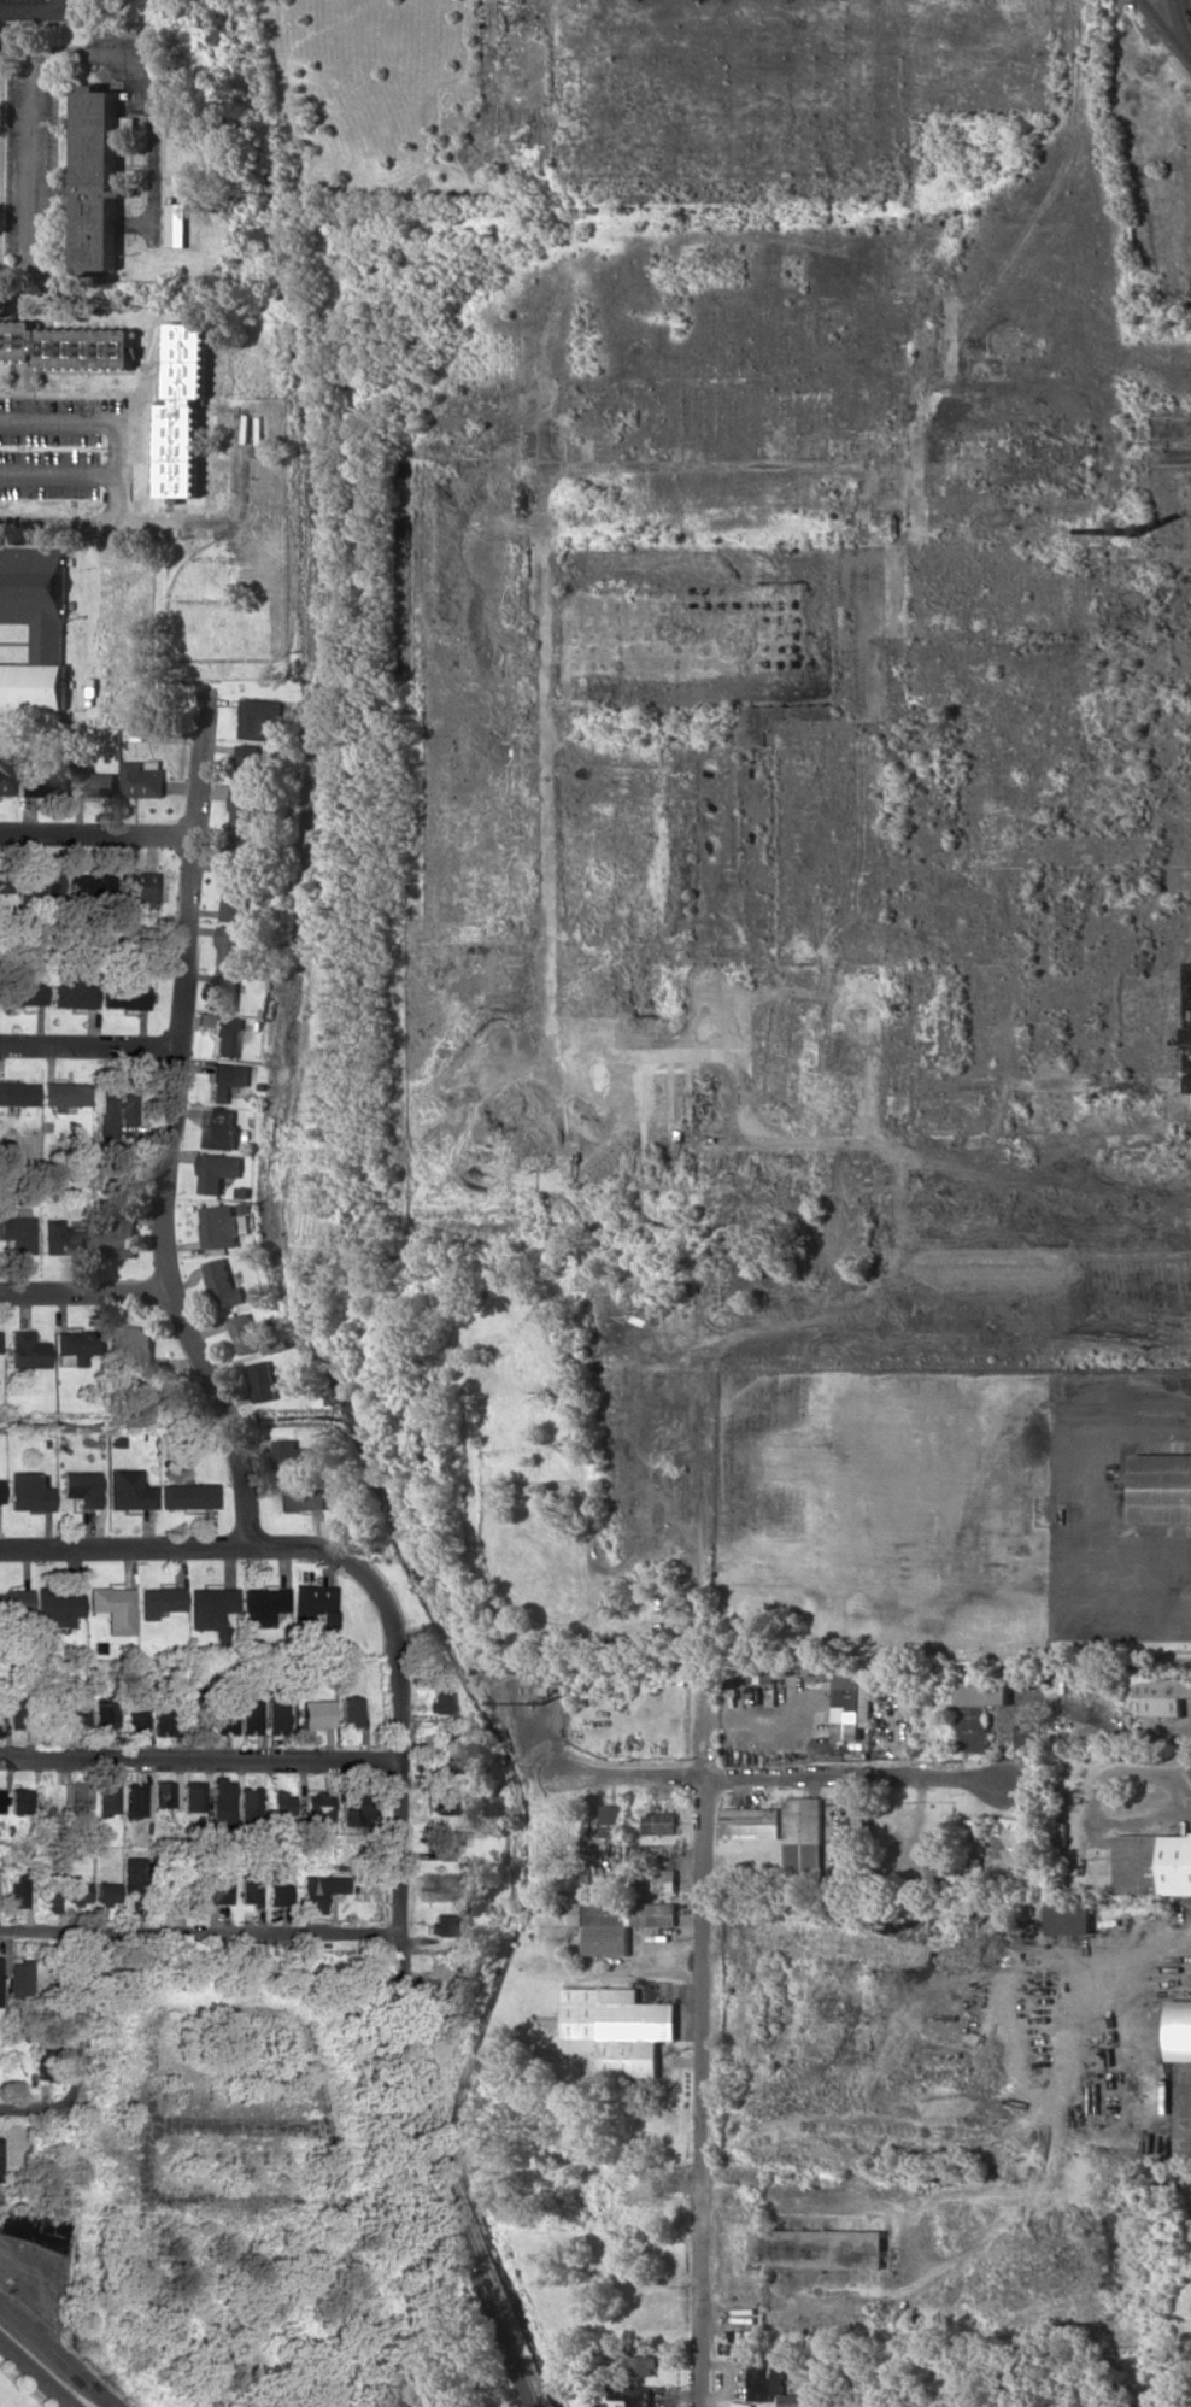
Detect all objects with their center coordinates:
road: (1185, 12)
road: (36, 14)
road: (1166, 27)
road: (143, 82)
road: (31, 169)
building: (101, 176)
building: (177, 224)
building: (66, 346)
building: (184, 410)
road: (107, 424)
road: (60, 476)
road: (169, 529)
building: (33, 627)
building: (260, 720)
building: (778, 721)
building: (248, 764)
building: (6, 775)
building: (143, 777)
building: (92, 780)
building: (42, 782)
building: (244, 810)
road: (96, 833)
building: (240, 855)
building: (2, 883)
building: (141, 886)
building: (236, 900)
building: (231, 945)
building: (72, 991)
building: (229, 991)
building: (22, 992)
building: (124, 996)
road: (733, 1010)
building: (225, 1034)
road: (87, 1051)
building: (227, 1080)
building: (18, 1093)
building: (116, 1110)
road: (171, 1127)
building: (221, 1128)
road: (1035, 1137)
building: (218, 1170)
building: (223, 1226)
building: (18, 1229)
building: (119, 1235)
building: (60, 1237)
building: (223, 1284)
road: (86, 1291)
building: (245, 1333)
building: (134, 1345)
building: (76, 1346)
building: (28, 1350)
building: (263, 1381)
building: (287, 1454)
building: (82, 1487)
building: (1162, 1487)
building: (129, 1490)
building: (0, 1491)
building: (28, 1492)
building: (187, 1495)
building: (303, 1498)
building: (159, 1601)
building: (14, 1602)
building: (312, 1603)
building: (260, 1604)
building: (58, 1605)
building: (209, 1607)
building: (113, 1608)
building: (758, 1677)
building: (1163, 1696)
building: (440, 1701)
building: (852, 1704)
building: (193, 1709)
building: (223, 1710)
building: (350, 1710)
building: (16, 1712)
building: (979, 1712)
building: (316, 1713)
building: (102, 1714)
building: (135, 1714)
building: (163, 1714)
building: (76, 1716)
building: (250, 1716)
building: (275, 1718)
building: (0, 1721)
building: (458, 1732)
building: (1028, 1733)
road: (200, 1756)
building: (448, 1762)
road: (784, 1772)
building: (162, 1793)
building: (77, 1795)
building: (192, 1795)
building: (106, 1797)
building: (0, 1798)
building: (134, 1798)
building: (19, 1800)
building: (442, 1802)
building: (280, 1803)
building: (219, 1804)
building: (247, 1804)
building: (317, 1807)
building: (353, 1808)
road: (400, 1813)
building: (612, 1820)
building: (661, 1822)
building: (751, 1822)
building: (1061, 1834)
building: (974, 1836)
building: (803, 1837)
building: (938, 1838)
building: (446, 1843)
building: (1152, 1863)
building: (935, 1868)
building: (135, 1879)
building: (659, 1880)
building: (218, 1883)
building: (248, 1888)
building: (17, 1890)
building: (77, 1891)
building: (106, 1891)
building: (318, 1891)
building: (51, 1892)
building: (277, 1895)
building: (1070, 1915)
building: (609, 1921)
building: (441, 1924)
road: (196, 1936)
building: (18, 1977)
road: (75, 2021)
building: (621, 2027)
road: (148, 2029)
building: (1179, 2030)
road: (703, 2049)
building: (40, 2068)
road: (35, 2107)
road: (235, 2126)
building: (30, 2227)
building: (820, 2248)
road: (375, 2306)
road: (59, 2352)
building: (641, 2365)
road: (37, 2372)
building: (773, 2382)
building: (633, 2394)
road: (64, 2403)

